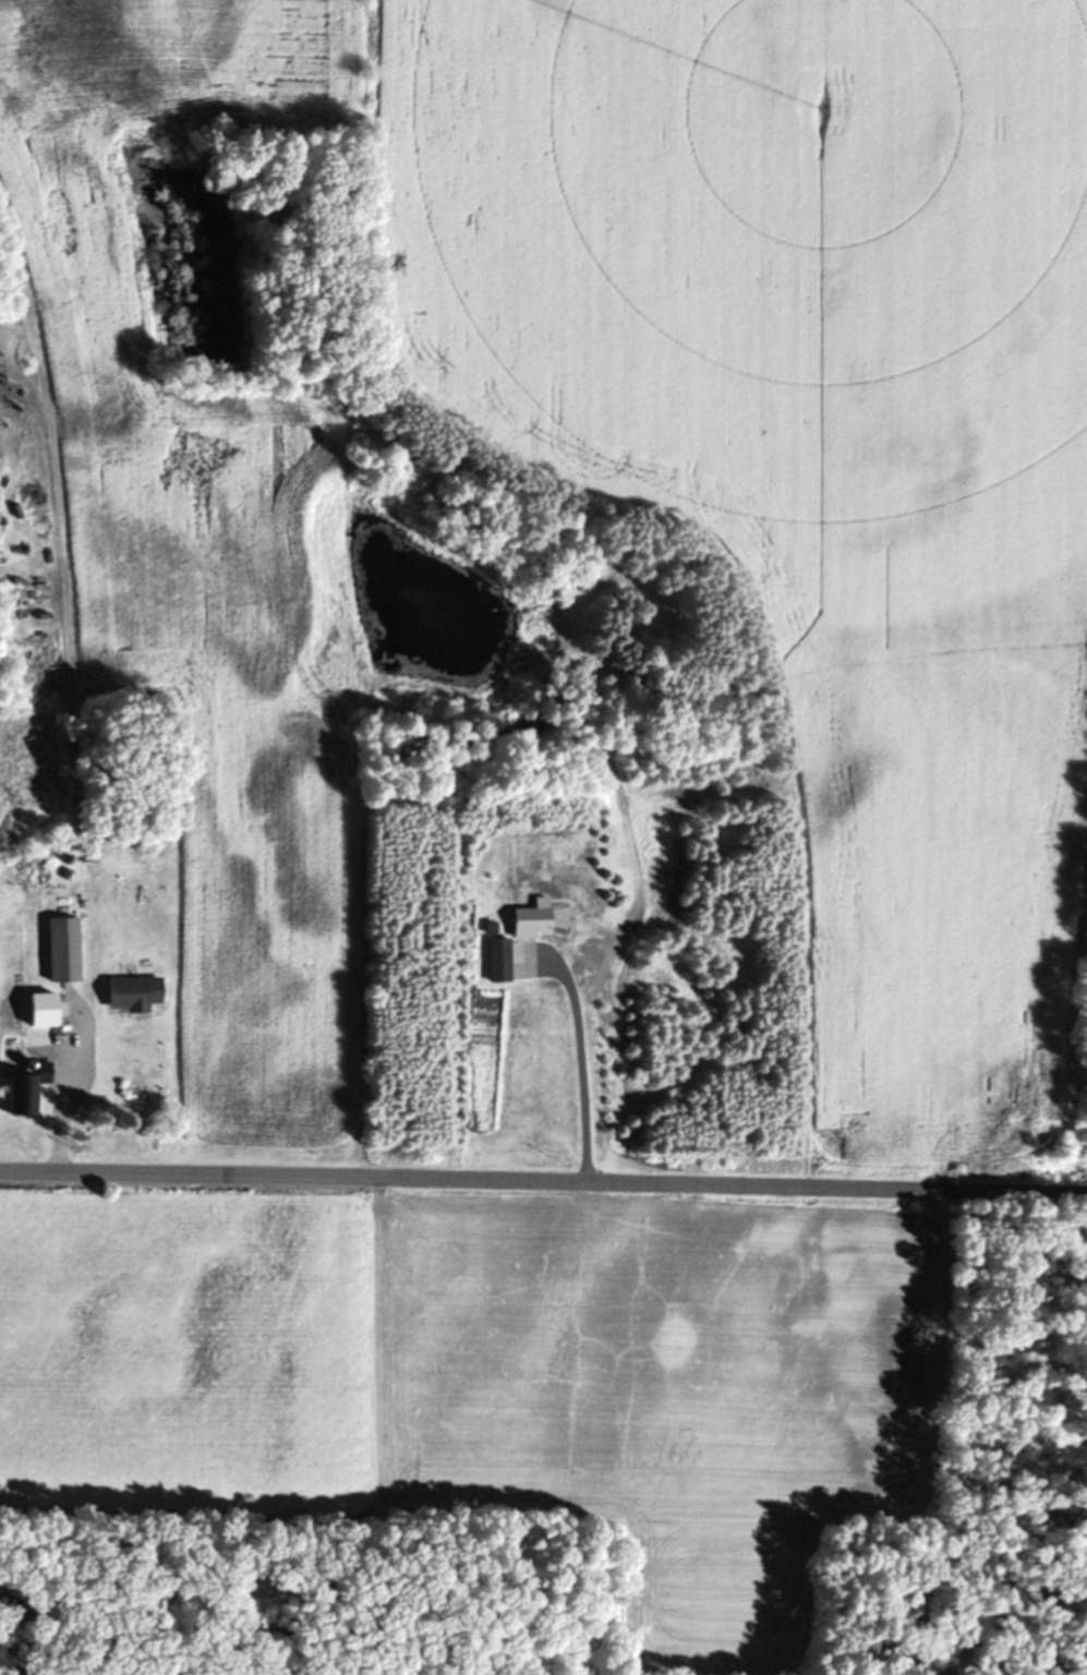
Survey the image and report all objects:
building: (533, 920)
building: (64, 949)
building: (499, 952)
building: (135, 992)
building: (65, 1028)
road: (578, 1063)
building: (28, 1090)
road: (235, 1174)
road: (778, 1188)

